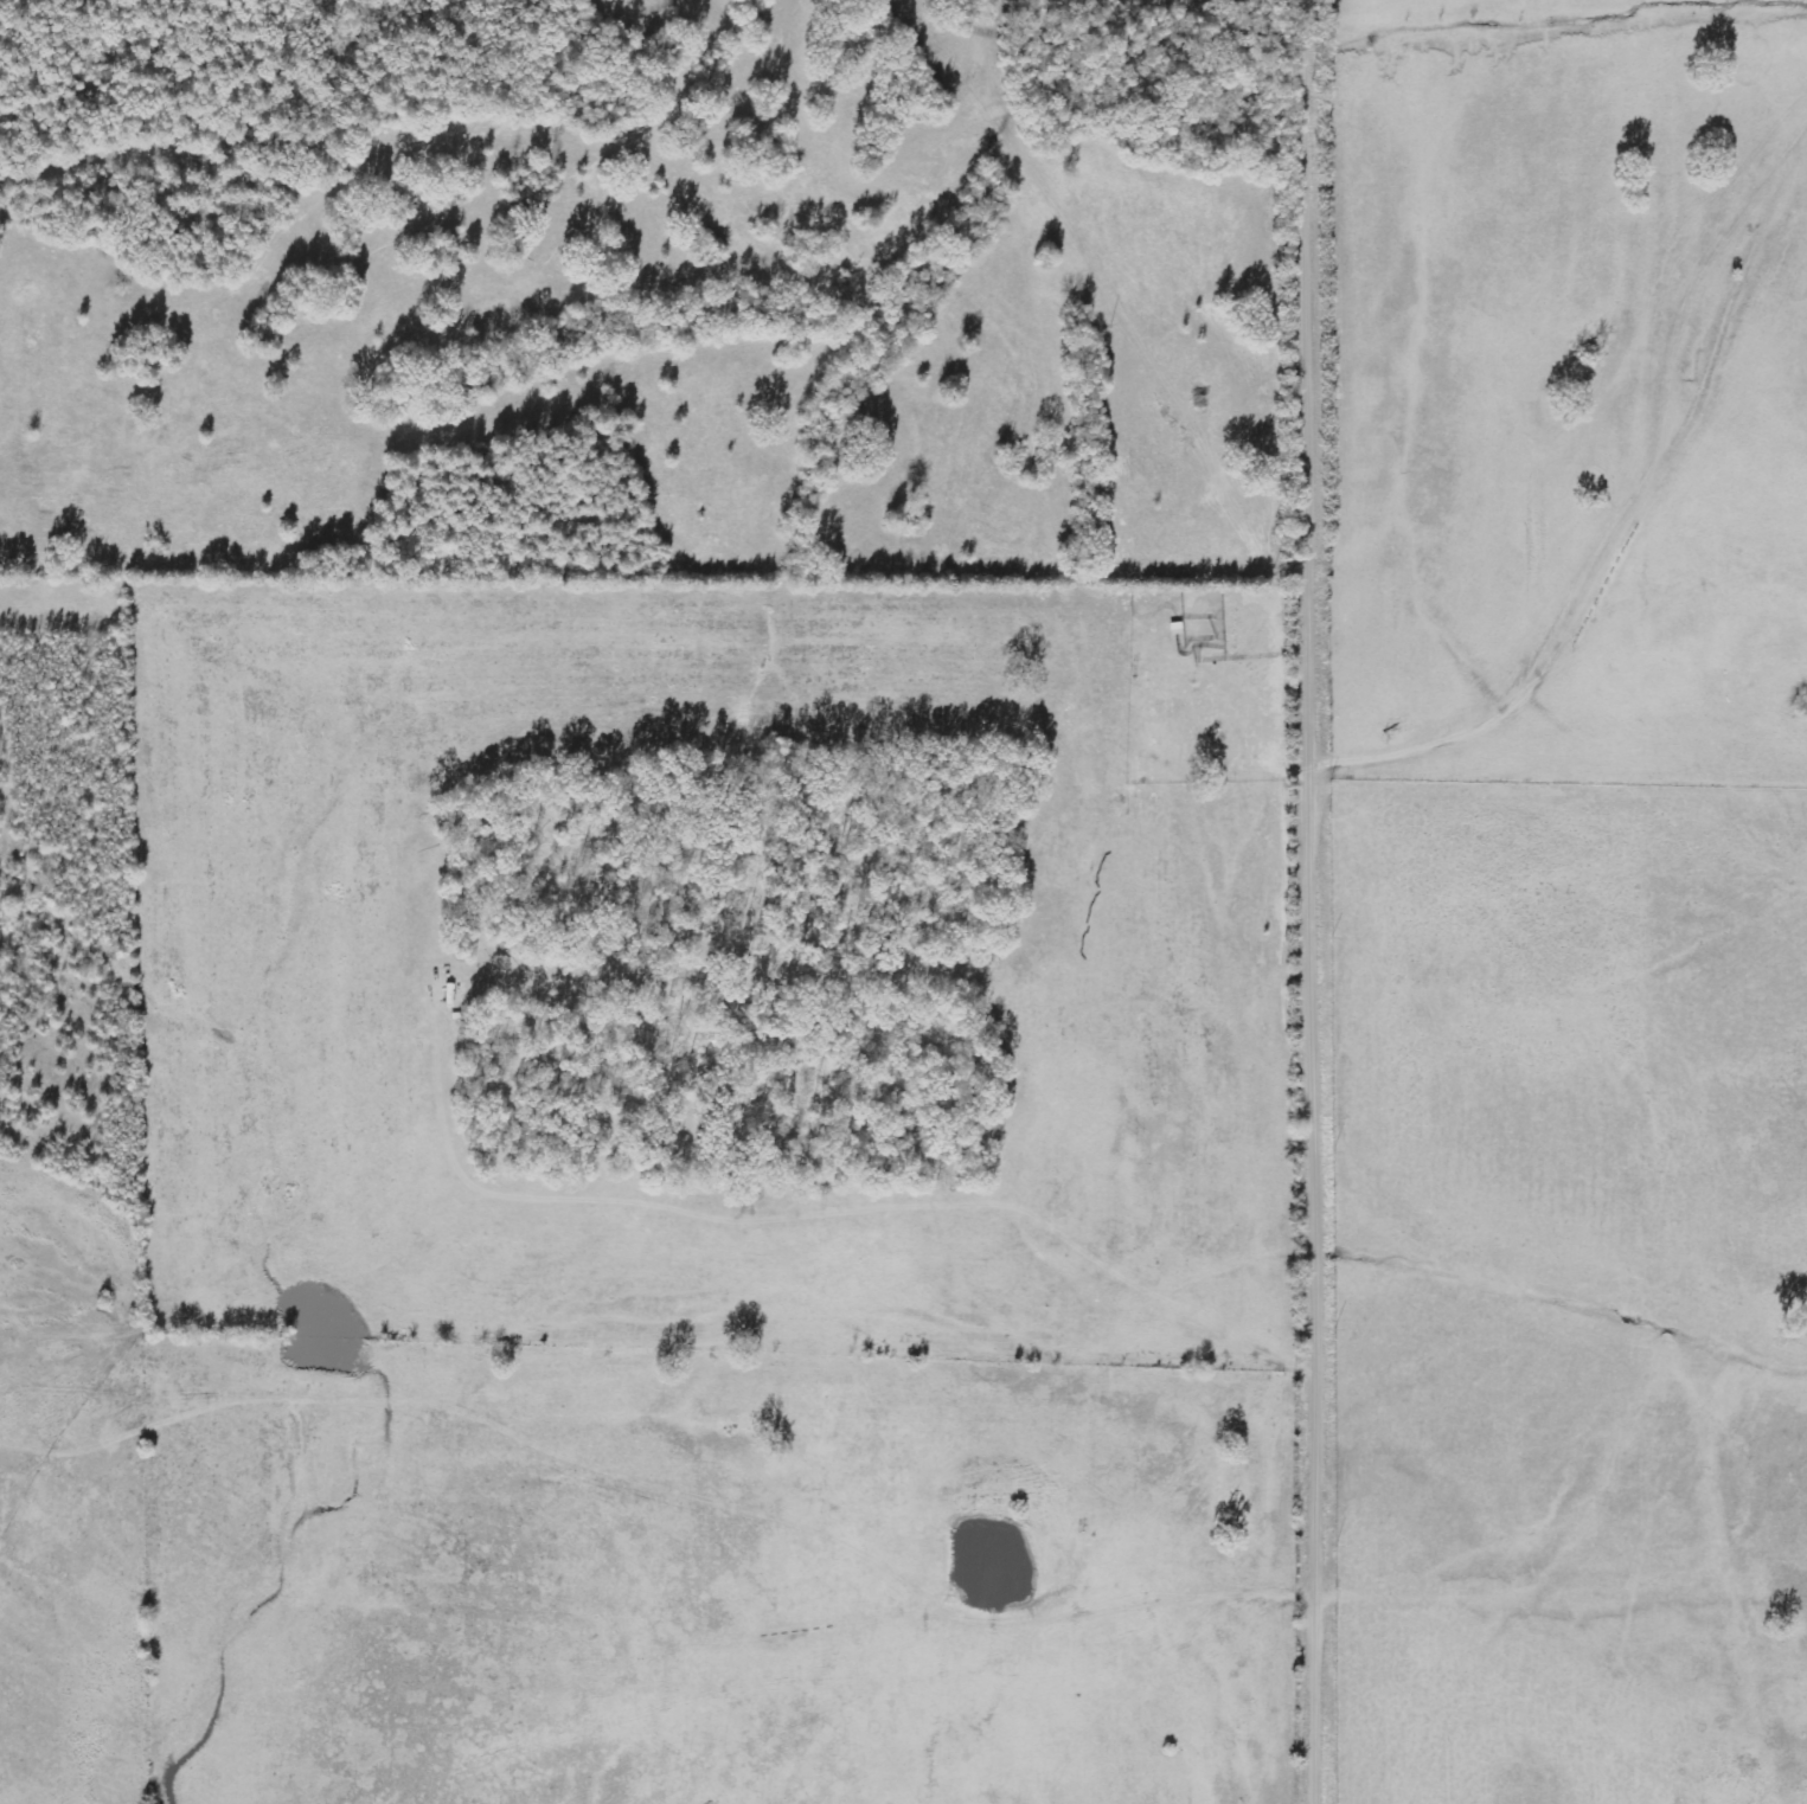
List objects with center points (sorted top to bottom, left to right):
road: (1307, 901)

